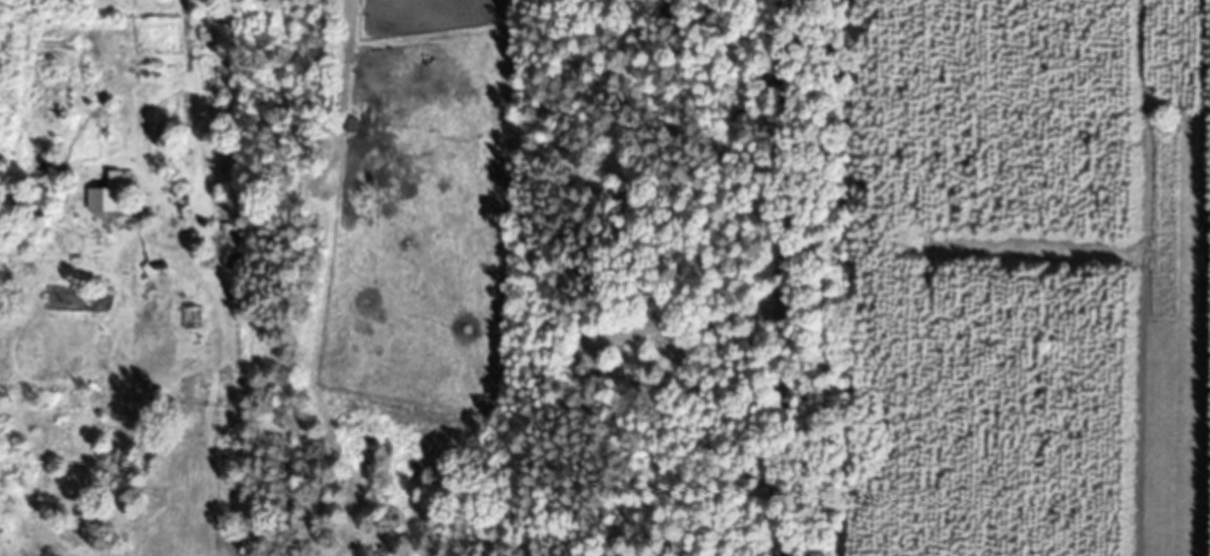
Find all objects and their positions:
building: (106, 198)

